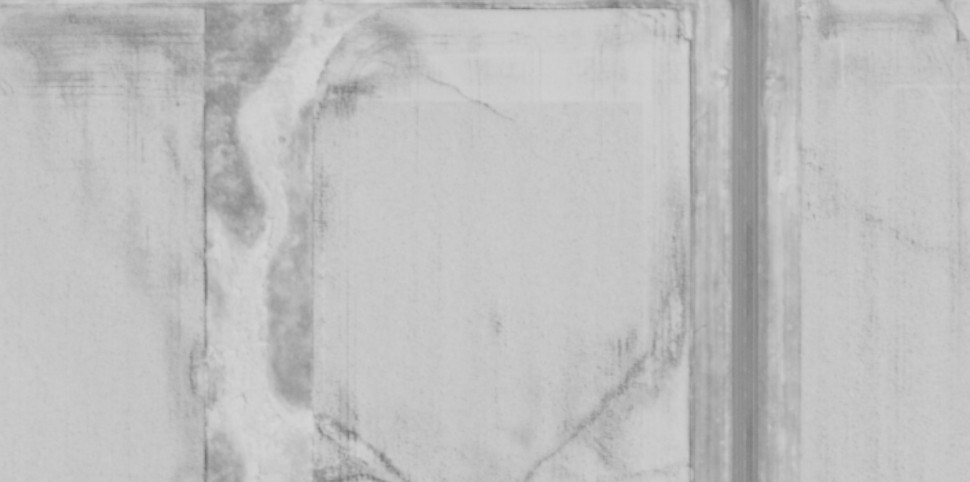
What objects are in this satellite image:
road: (746, 241)

